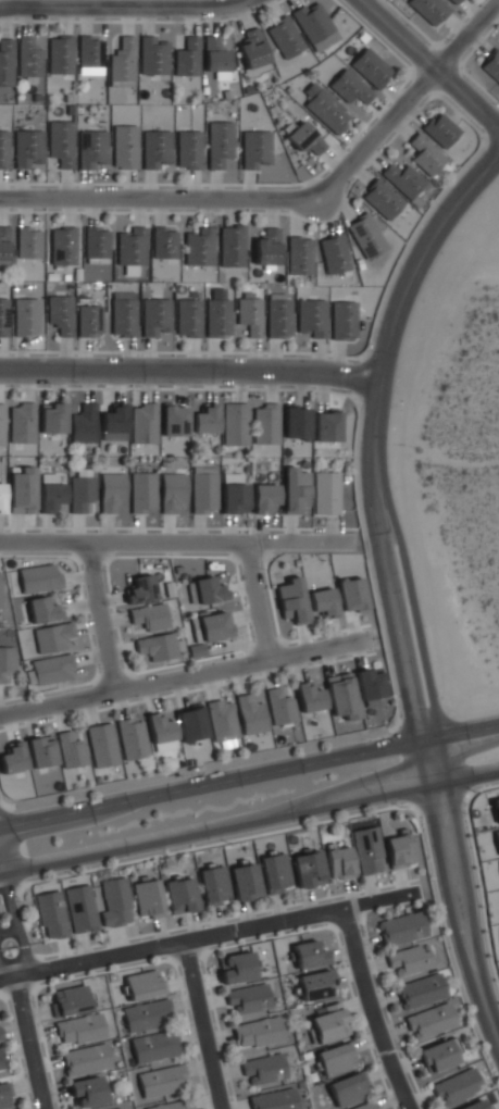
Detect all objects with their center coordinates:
building: (452, 1)
road: (122, 7)
building: (428, 10)
building: (314, 25)
building: (284, 37)
building: (250, 47)
building: (59, 54)
building: (89, 54)
building: (213, 55)
building: (27, 57)
building: (151, 57)
building: (186, 57)
road: (429, 61)
building: (5, 63)
building: (121, 63)
building: (491, 65)
building: (370, 67)
road: (470, 77)
building: (349, 87)
building: (325, 109)
building: (440, 130)
building: (302, 138)
building: (60, 141)
building: (217, 142)
building: (123, 147)
building: (3, 149)
building: (27, 149)
building: (91, 149)
building: (155, 149)
building: (254, 149)
building: (187, 150)
building: (424, 155)
building: (402, 180)
road: (291, 197)
building: (381, 200)
building: (365, 236)
building: (28, 241)
building: (96, 242)
building: (3, 244)
building: (163, 244)
building: (62, 246)
building: (230, 246)
building: (128, 247)
building: (197, 247)
building: (266, 248)
building: (333, 253)
building: (298, 257)
building: (59, 313)
building: (122, 314)
building: (249, 315)
building: (3, 316)
building: (25, 316)
building: (154, 317)
building: (187, 317)
building: (216, 317)
building: (278, 317)
building: (310, 317)
building: (342, 320)
building: (88, 321)
road: (189, 370)
building: (50, 419)
building: (204, 420)
building: (173, 421)
building: (21, 423)
building: (142, 423)
building: (82, 424)
building: (112, 424)
building: (264, 424)
building: (295, 424)
building: (1, 425)
building: (234, 425)
building: (325, 427)
road: (371, 443)
building: (21, 488)
building: (204, 489)
building: (294, 489)
building: (80, 490)
building: (110, 490)
building: (172, 490)
building: (141, 493)
building: (324, 493)
building: (49, 495)
building: (1, 497)
building: (234, 497)
building: (264, 498)
road: (172, 544)
building: (38, 577)
building: (139, 588)
building: (204, 590)
building: (0, 594)
building: (350, 594)
building: (290, 598)
road: (253, 601)
building: (323, 601)
building: (40, 609)
building: (148, 616)
road: (98, 618)
building: (212, 625)
building: (50, 636)
building: (155, 646)
building: (7, 664)
building: (49, 669)
road: (180, 676)
building: (369, 683)
building: (340, 696)
building: (308, 697)
building: (279, 707)
building: (250, 714)
building: (221, 722)
building: (190, 723)
building: (159, 727)
building: (132, 737)
building: (101, 745)
building: (40, 750)
building: (70, 750)
building: (13, 758)
road: (212, 763)
road: (249, 774)
road: (249, 818)
building: (398, 848)
building: (367, 850)
building: (338, 861)
building: (307, 868)
building: (274, 872)
building: (244, 881)
building: (213, 885)
building: (179, 895)
building: (147, 898)
road: (460, 898)
building: (115, 901)
building: (79, 908)
building: (50, 914)
road: (15, 922)
building: (400, 927)
road: (9, 931)
road: (209, 936)
building: (308, 954)
building: (408, 959)
building: (235, 967)
road: (7, 971)
building: (144, 984)
building: (314, 984)
building: (420, 989)
building: (247, 997)
building: (68, 999)
road: (374, 1009)
building: (146, 1014)
building: (428, 1020)
building: (327, 1023)
road: (205, 1025)
building: (78, 1029)
building: (257, 1032)
road: (27, 1043)
building: (153, 1046)
building: (437, 1054)
building: (337, 1058)
building: (84, 1059)
building: (1, 1063)
building: (262, 1069)
building: (161, 1081)
building: (456, 1087)
building: (348, 1088)
building: (85, 1091)
building: (4, 1096)
building: (272, 1099)
building: (171, 1105)
building: (474, 1105)
building: (365, 1106)
building: (117, 1108)

